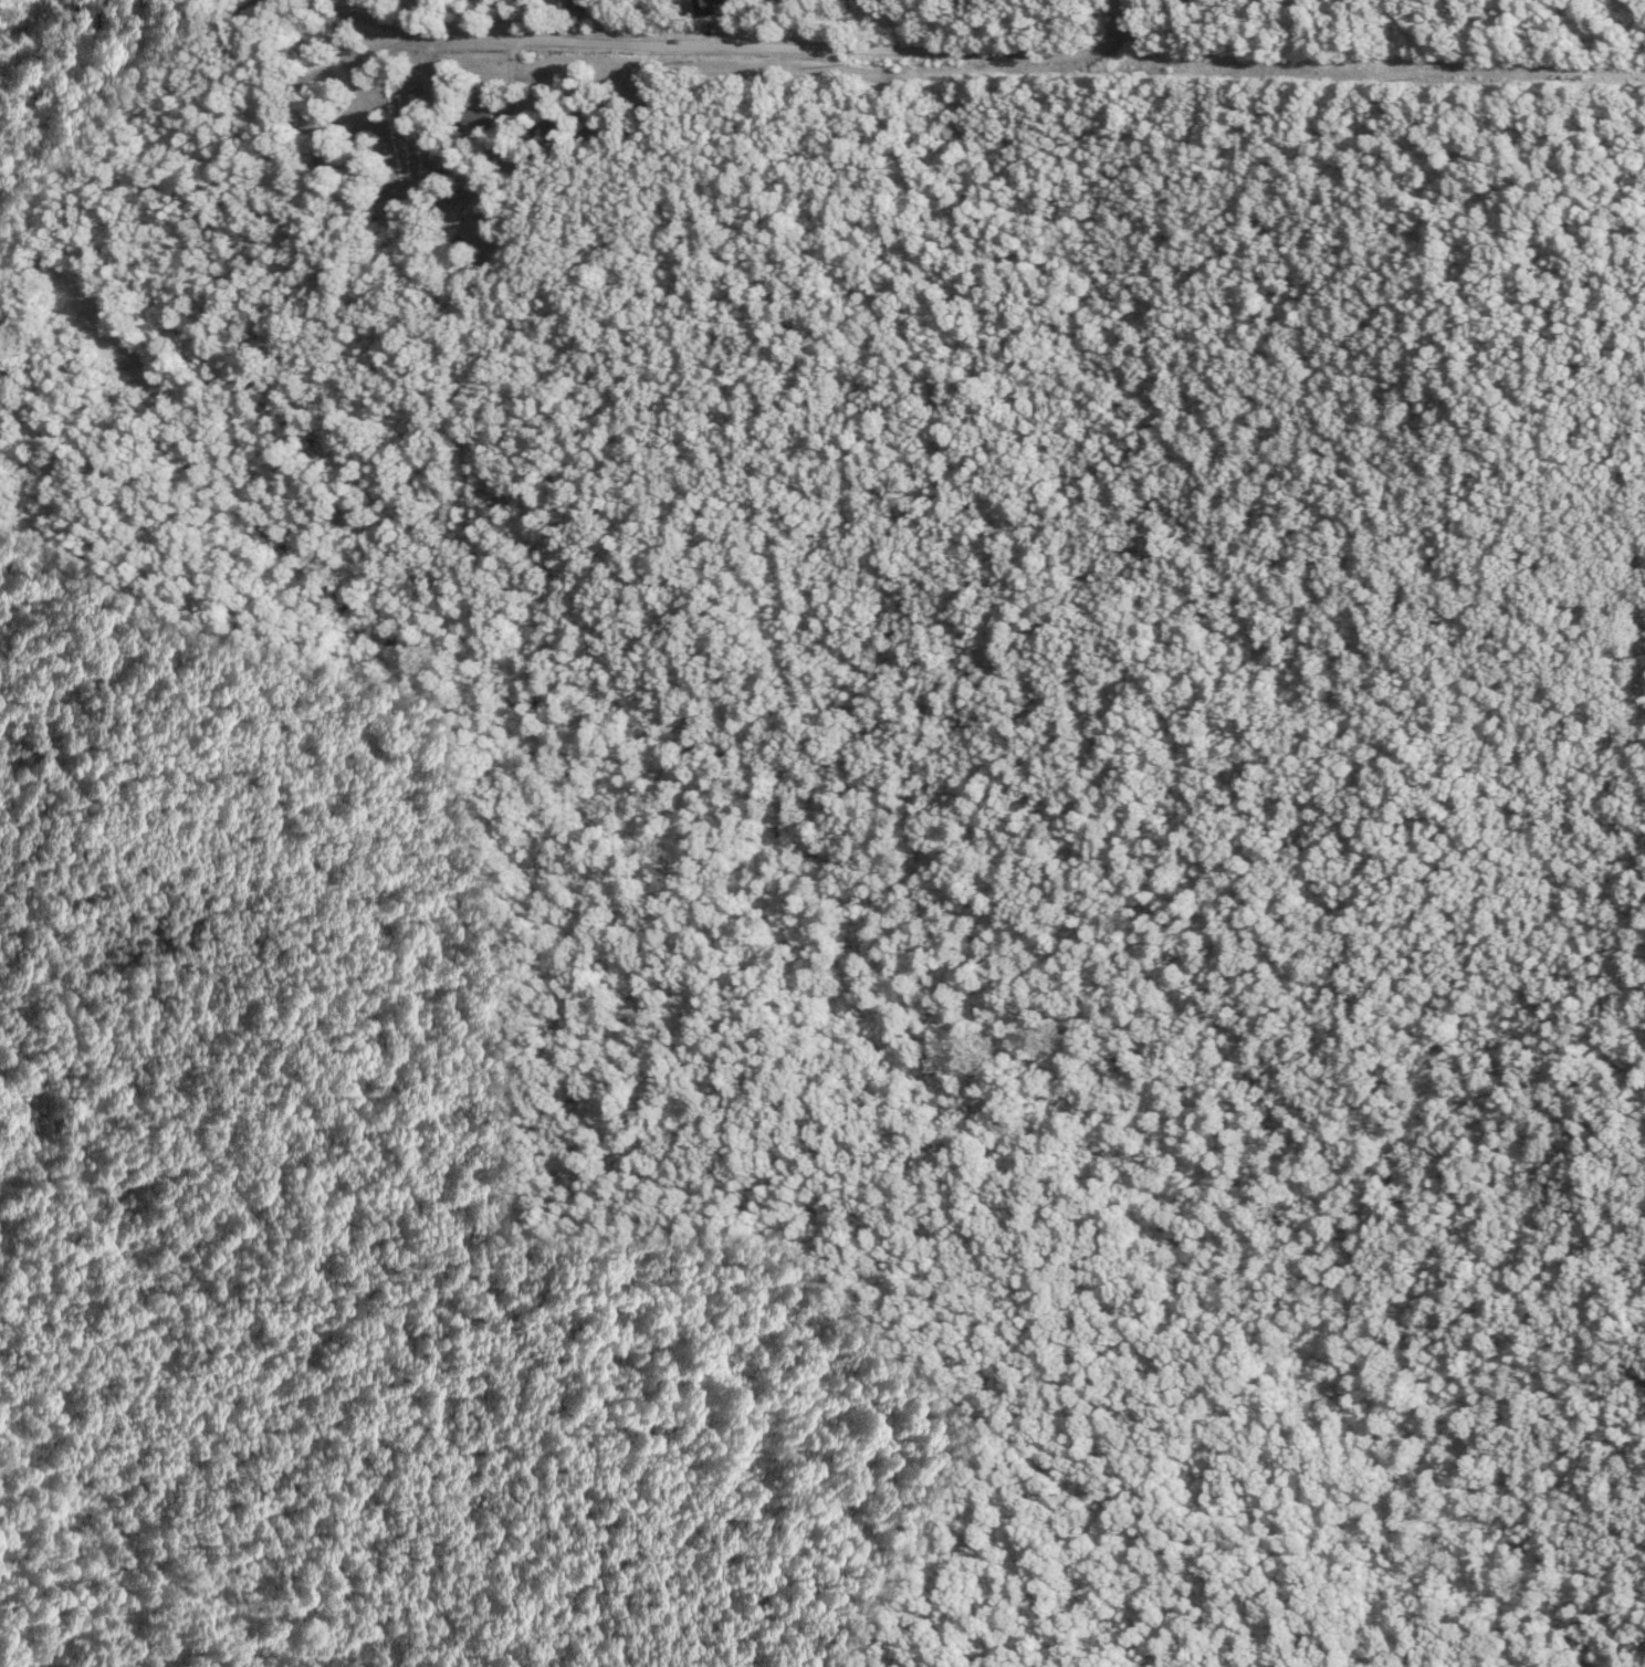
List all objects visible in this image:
building: (583, 4)
road: (788, 48)
building: (553, 130)

